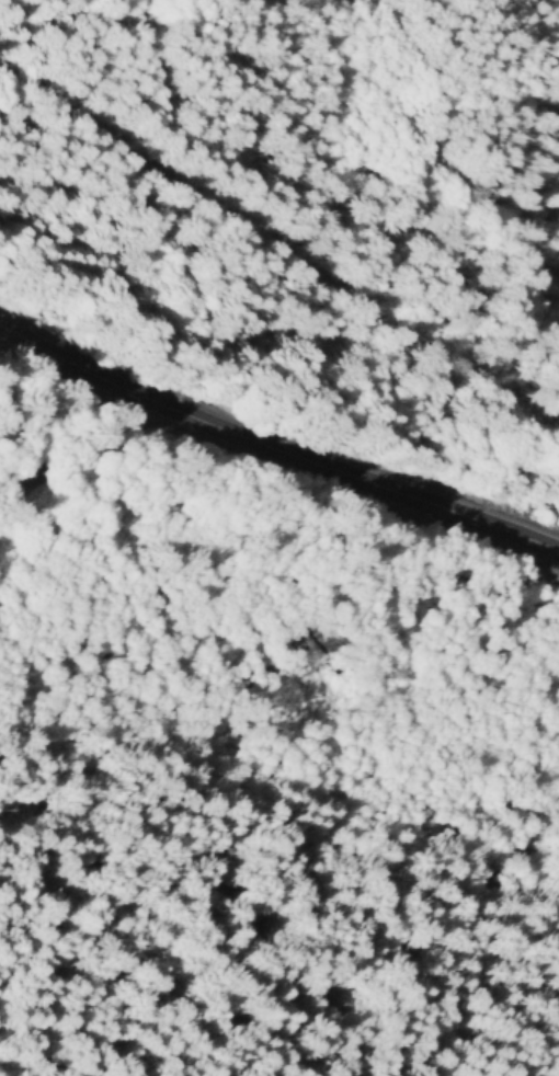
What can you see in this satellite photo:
road: (26, 434)
road: (114, 448)
road: (274, 448)
road: (26, 506)

